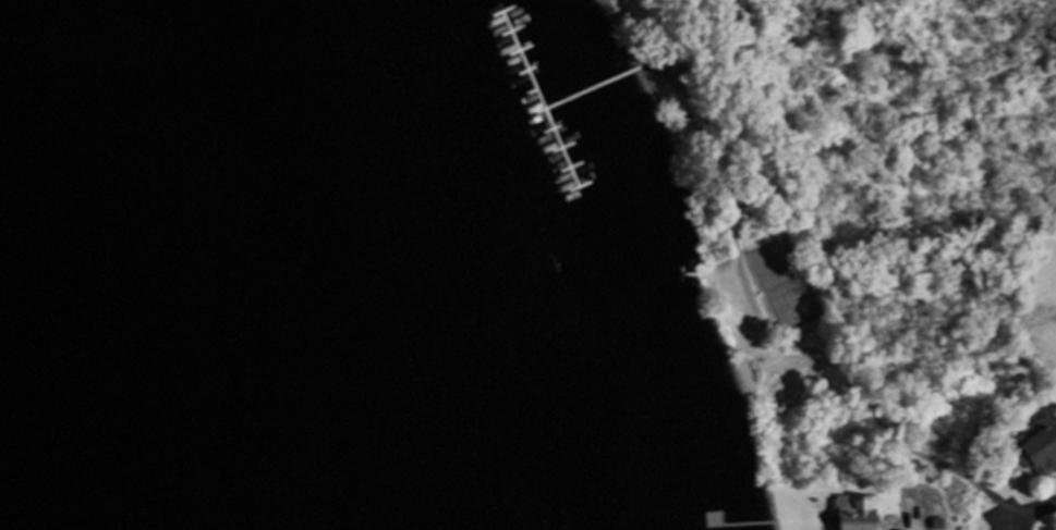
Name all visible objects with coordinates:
park: (784, 285)
road: (754, 312)
building: (1033, 445)
building: (871, 493)
building: (820, 510)
road: (1031, 511)
building: (854, 513)

